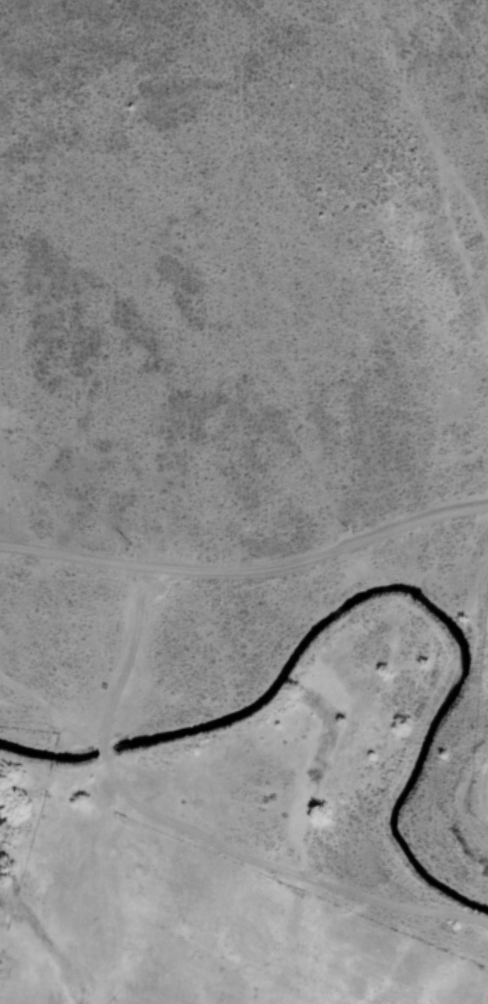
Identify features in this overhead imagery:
road: (244, 555)

